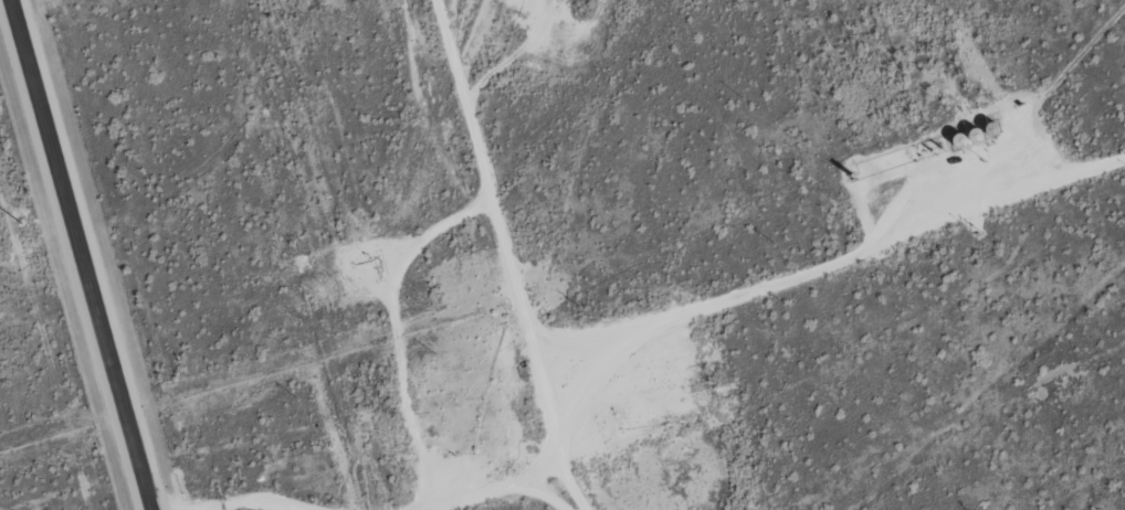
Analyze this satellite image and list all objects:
road: (83, 255)
road: (506, 257)

